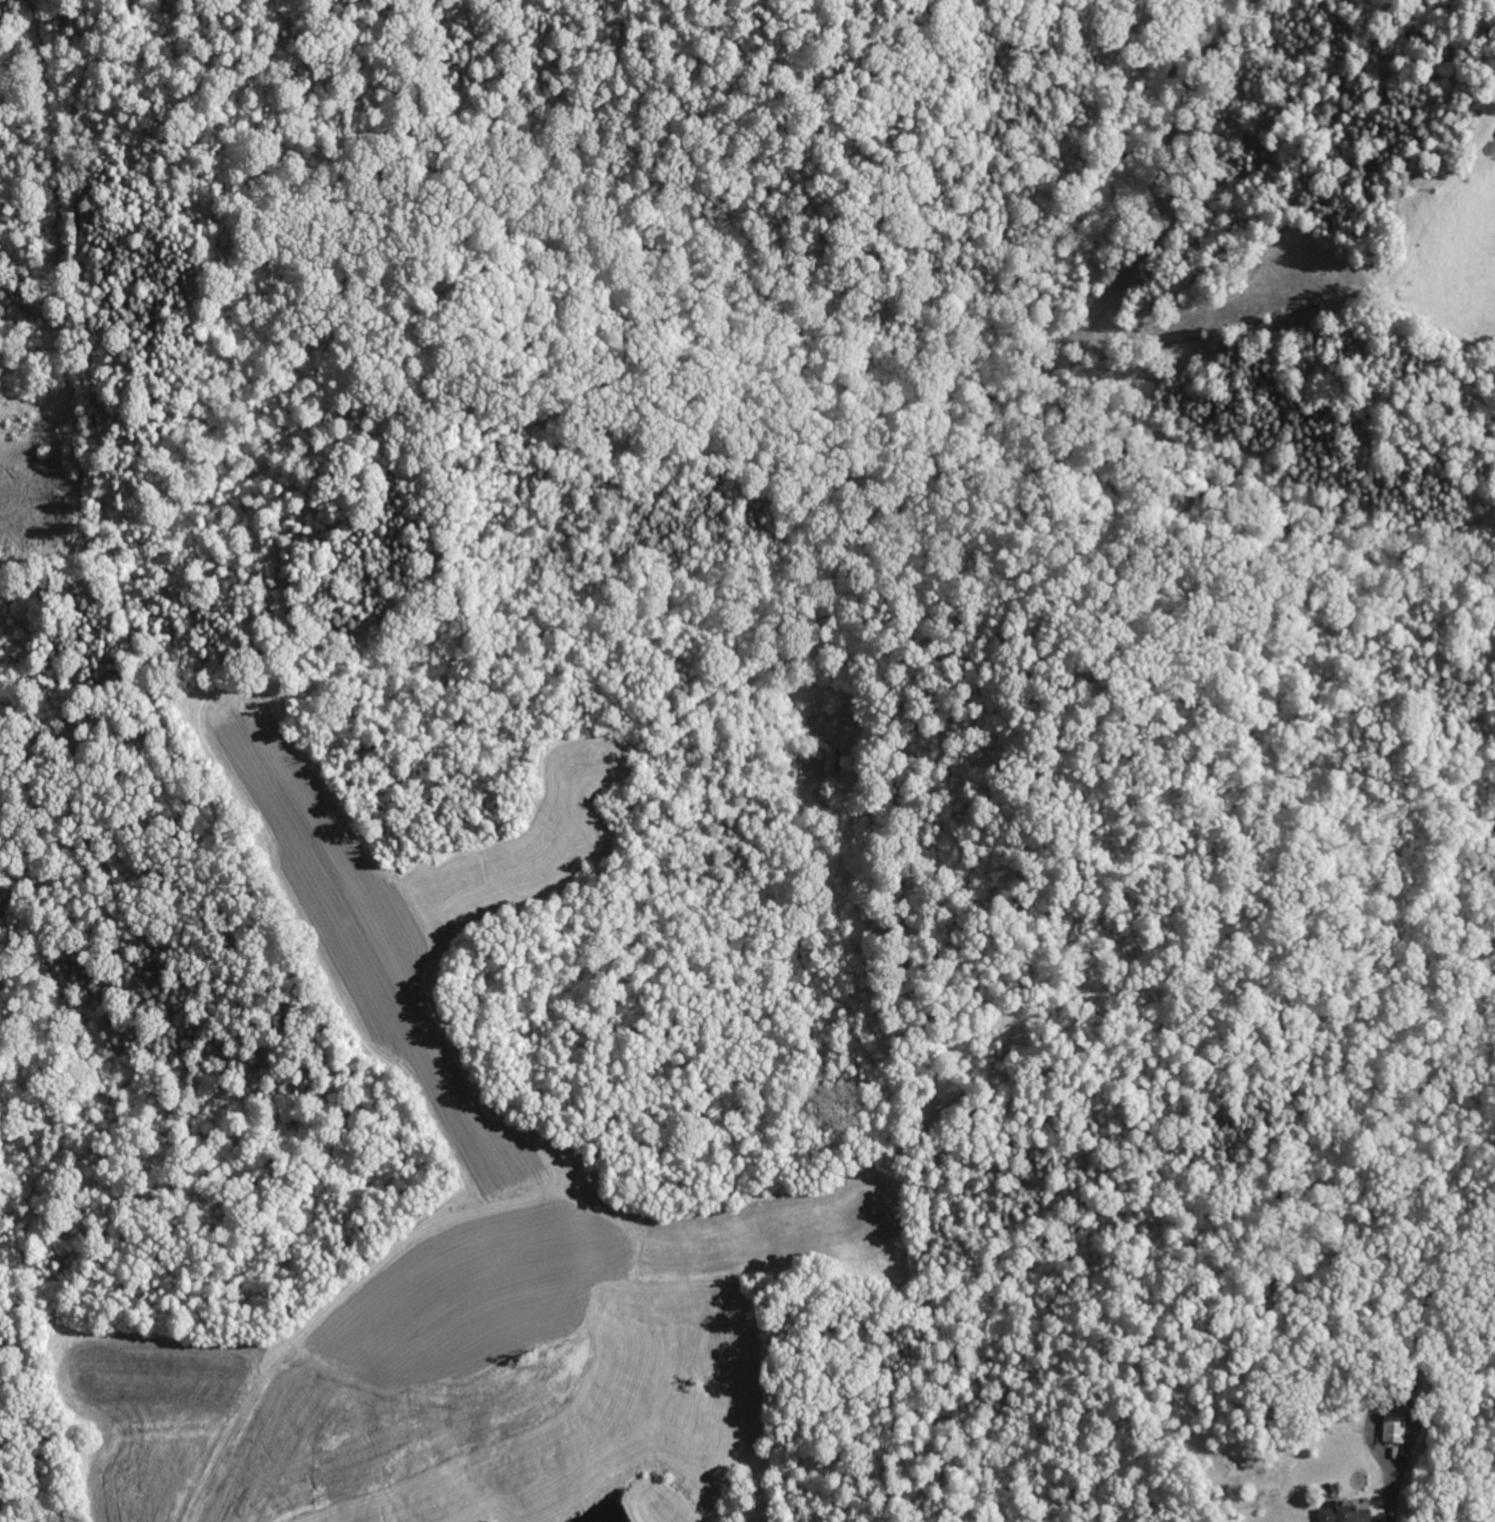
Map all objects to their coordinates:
building: (1393, 1429)

